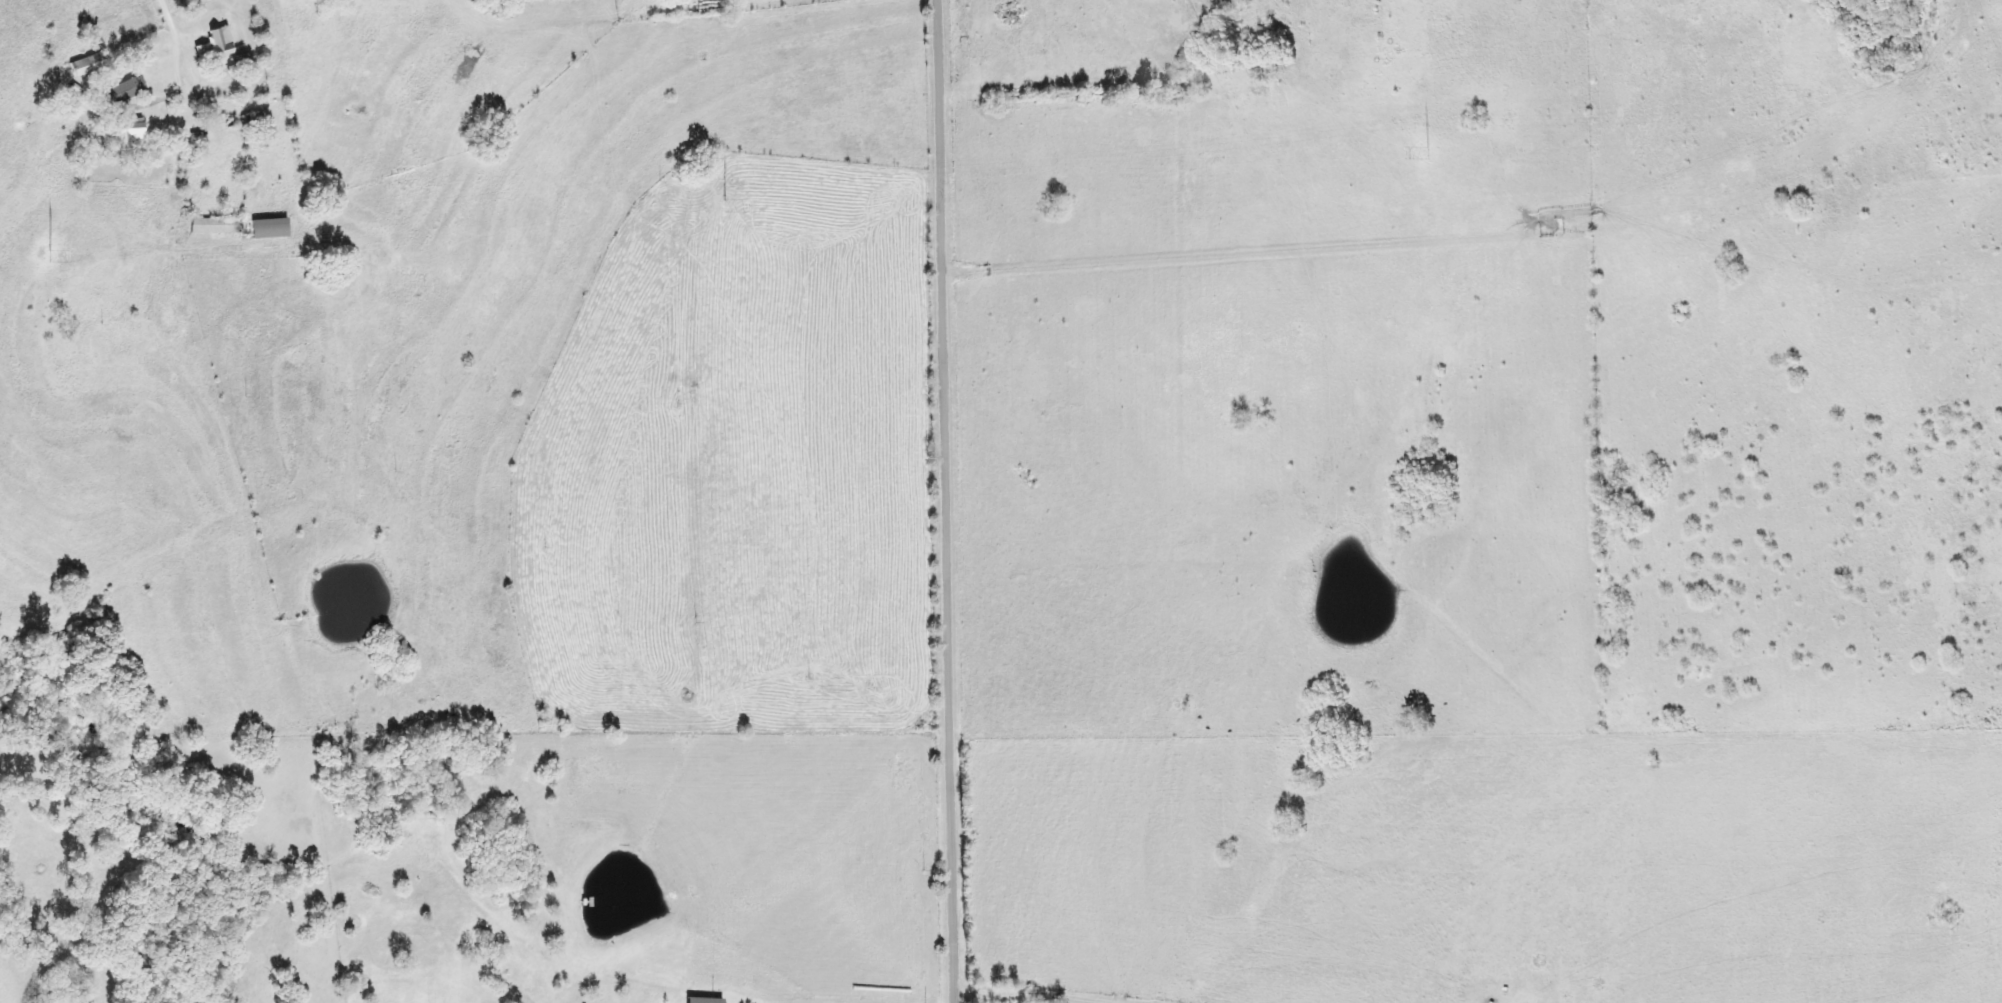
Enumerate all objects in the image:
building: (217, 44)
road: (186, 53)
building: (244, 59)
building: (89, 63)
building: (126, 93)
building: (254, 120)
building: (129, 129)
power tower: (1429, 154)
power tower: (726, 205)
building: (216, 224)
building: (271, 227)
power tower: (49, 255)
road: (949, 501)
road: (22, 981)
building: (705, 1000)

